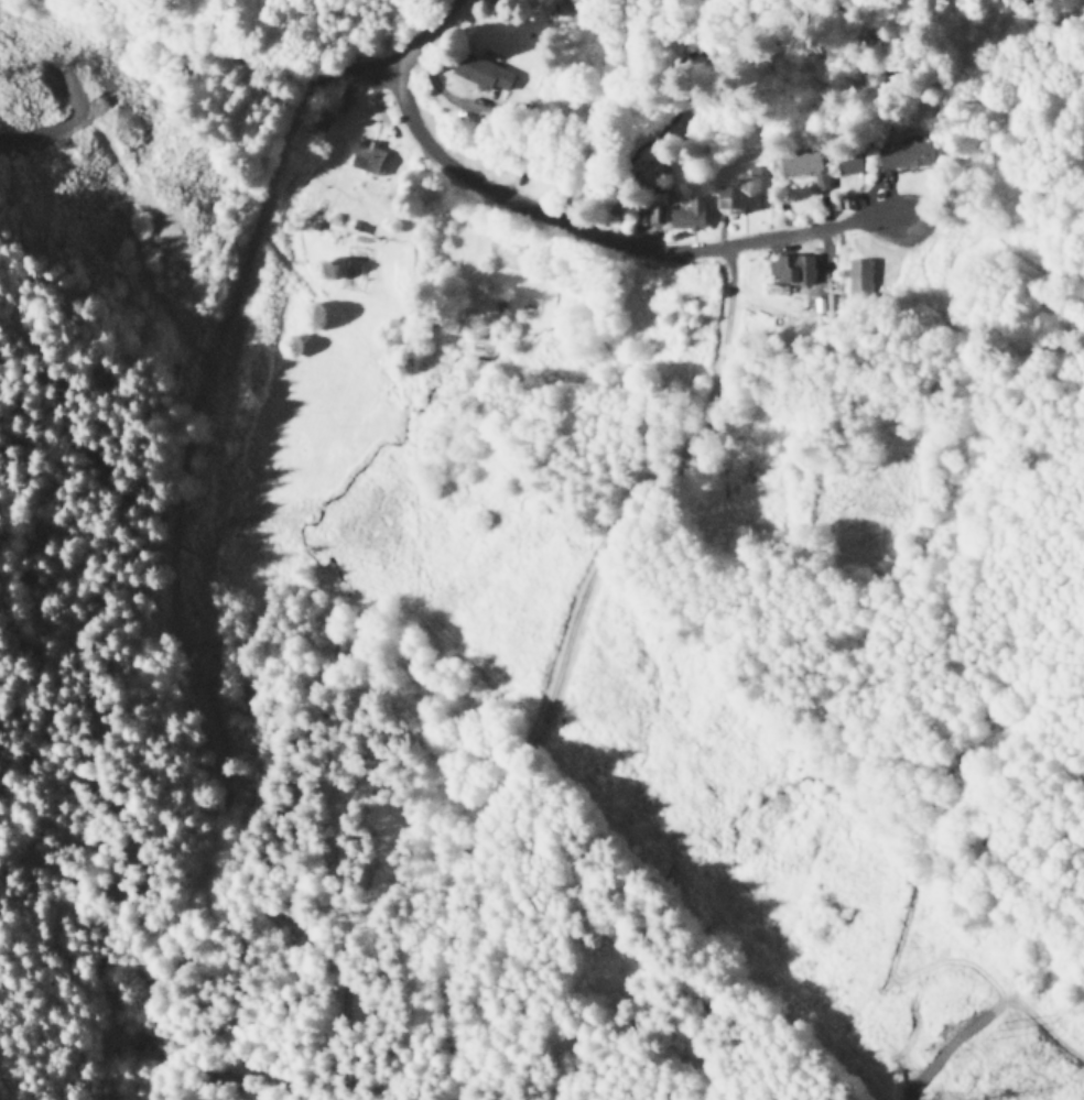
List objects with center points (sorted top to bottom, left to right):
road: (272, 42)
building: (475, 77)
building: (340, 100)
building: (317, 123)
building: (907, 157)
building: (367, 159)
building: (800, 164)
building: (847, 165)
building: (738, 197)
building: (687, 217)
road: (587, 229)
building: (790, 275)
building: (863, 282)
power tower: (1001, 1028)

